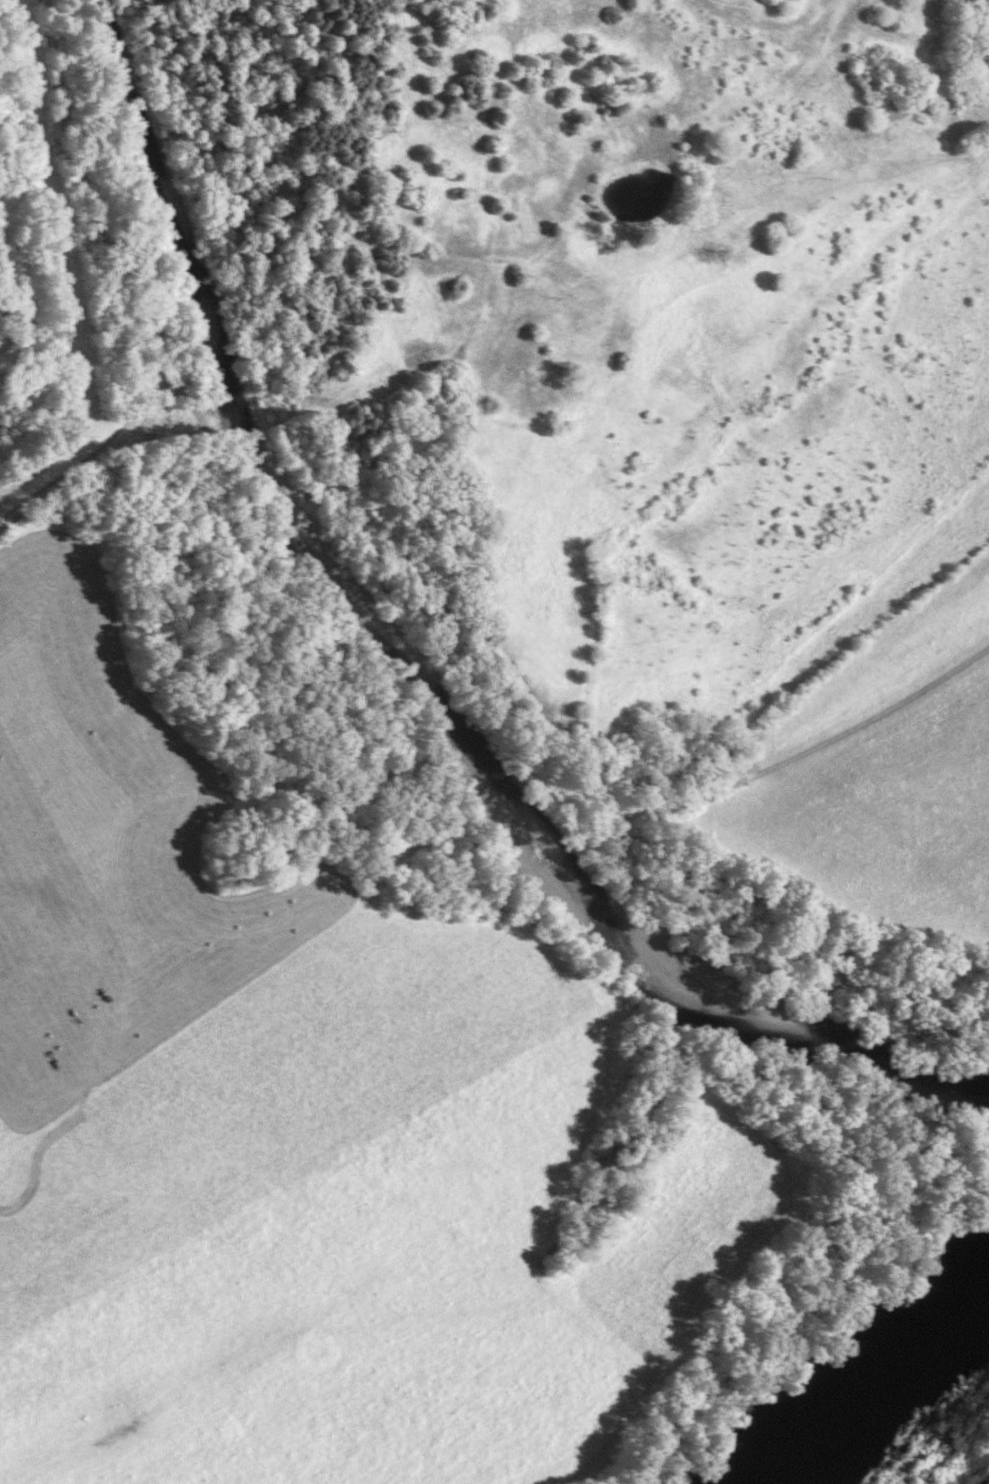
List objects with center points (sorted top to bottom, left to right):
road: (121, 287)
river: (400, 691)
river: (859, 1386)

